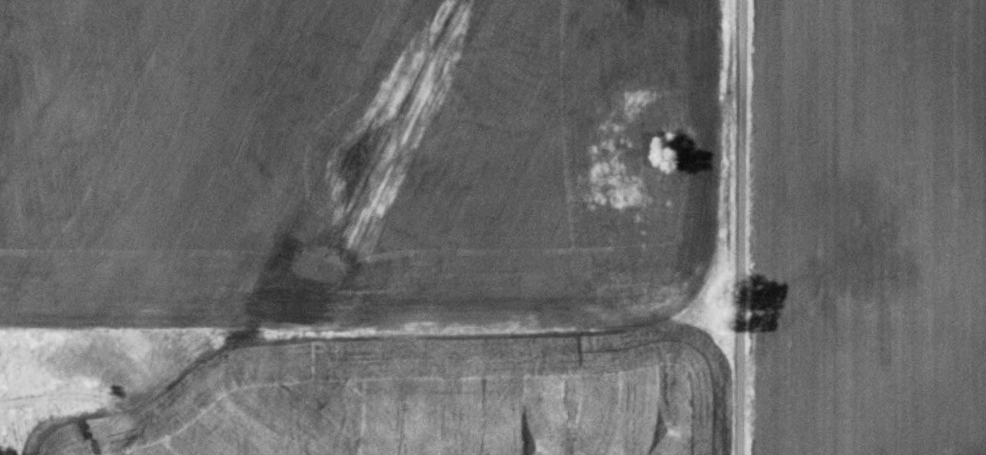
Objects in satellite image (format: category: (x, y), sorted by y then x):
road: (741, 227)

